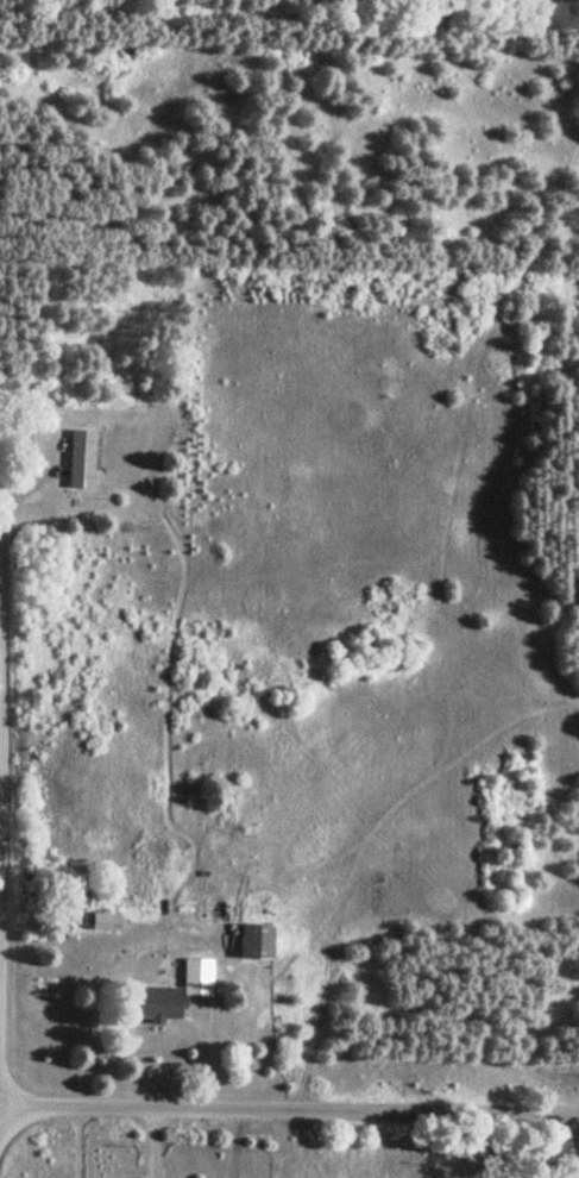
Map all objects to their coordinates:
building: (77, 459)
building: (251, 941)
building: (195, 976)
building: (153, 1003)
road: (289, 1110)
road: (161, 1142)

